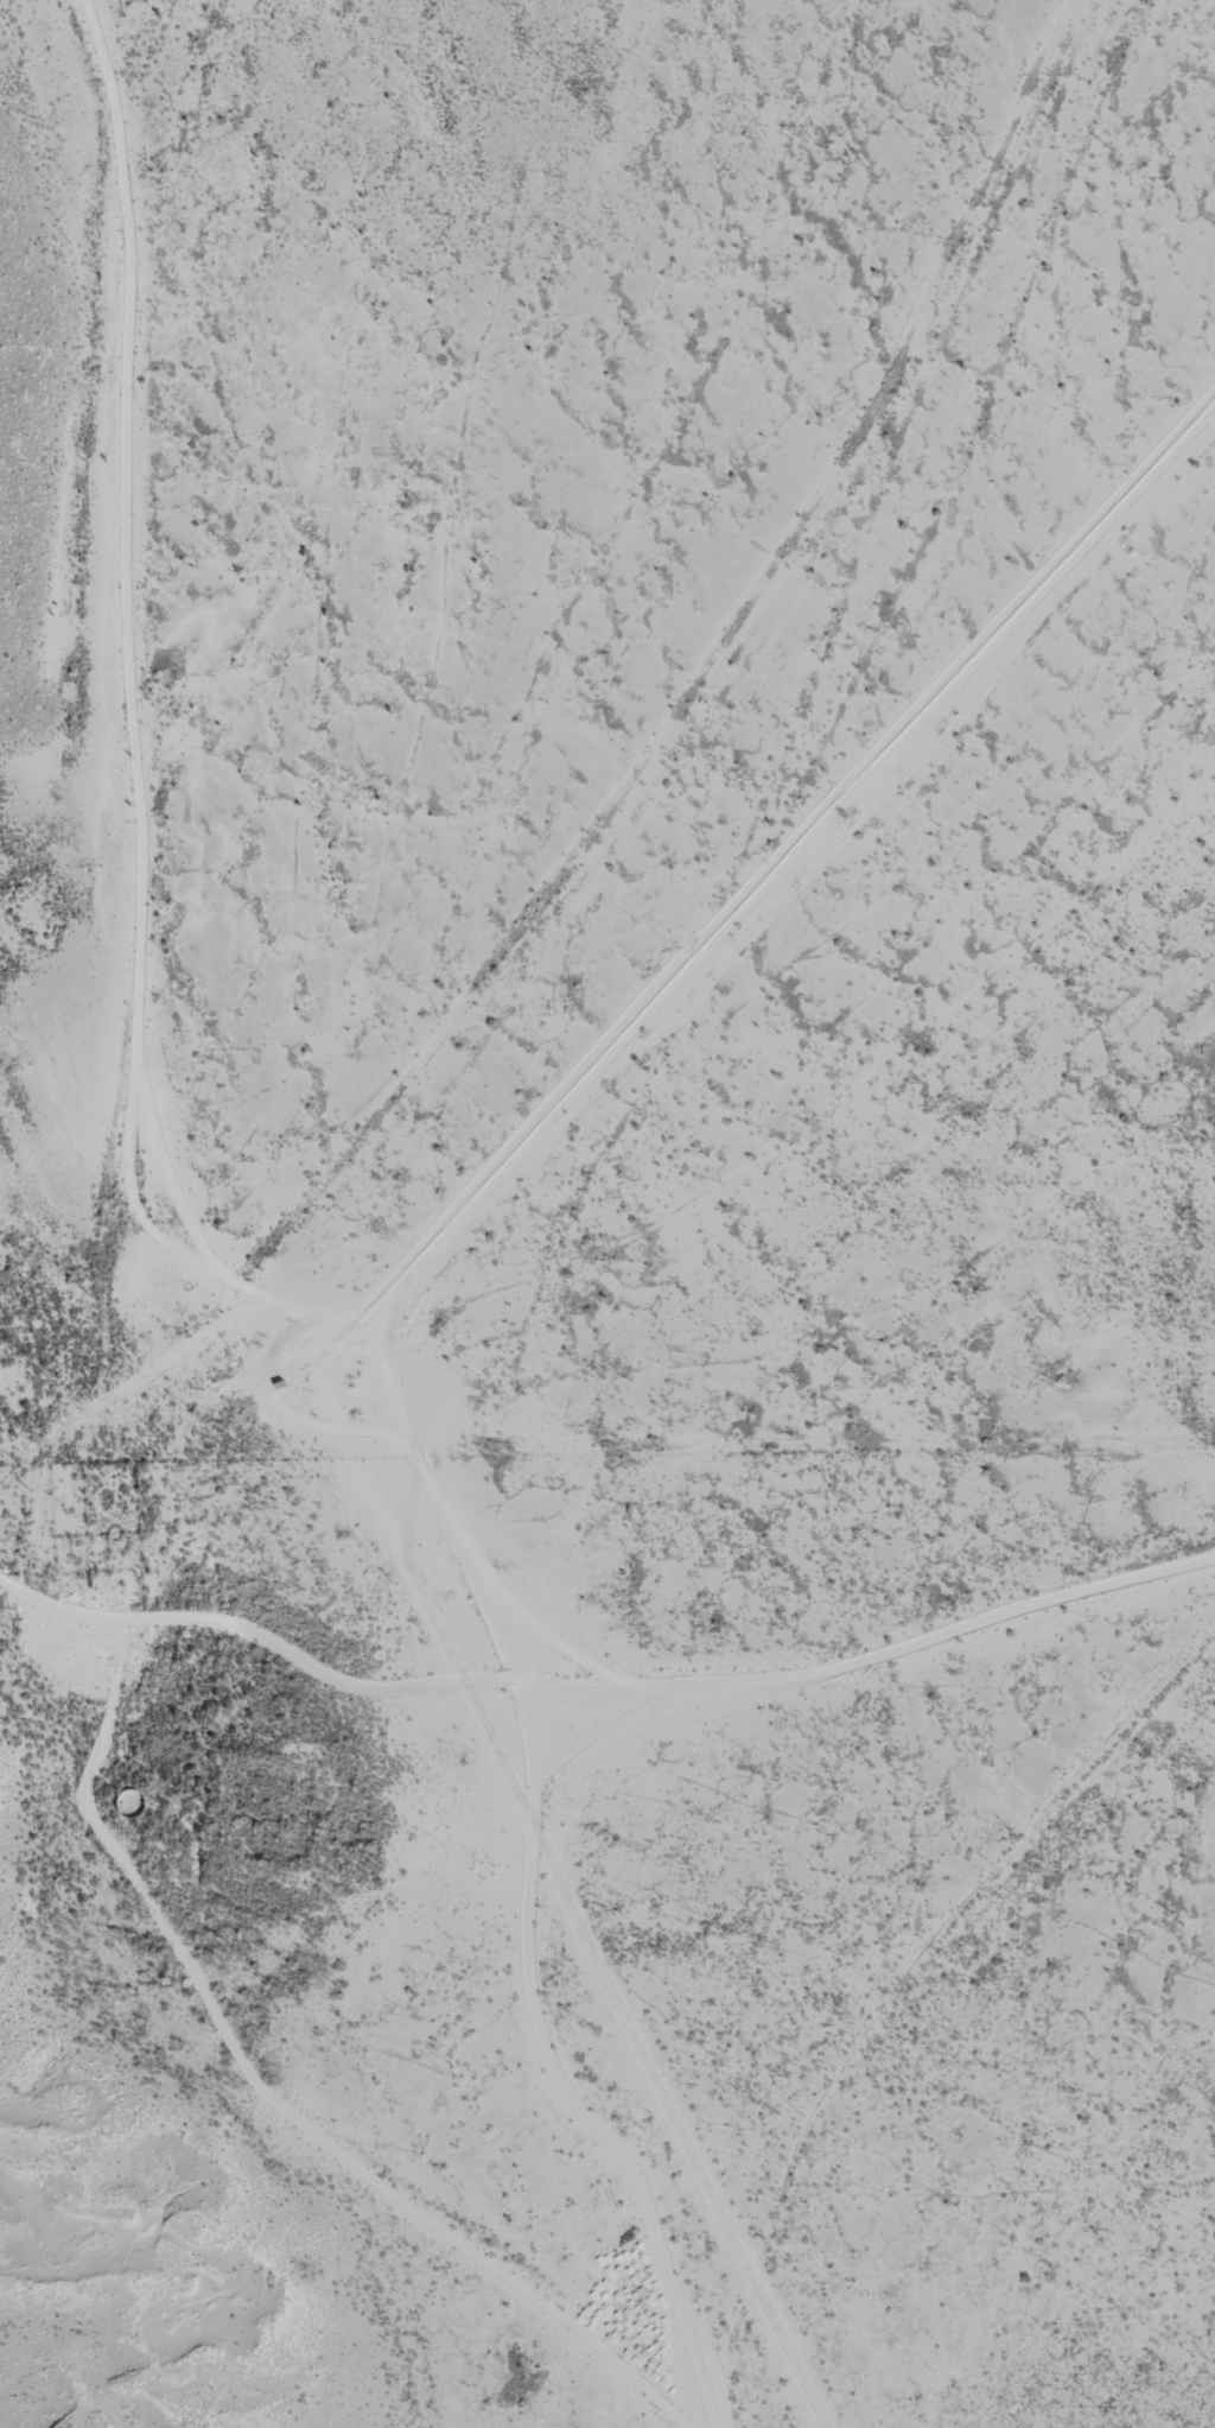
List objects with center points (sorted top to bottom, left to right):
road: (108, 725)
road: (552, 800)
road: (42, 1586)
road: (644, 1705)
road: (243, 2105)

